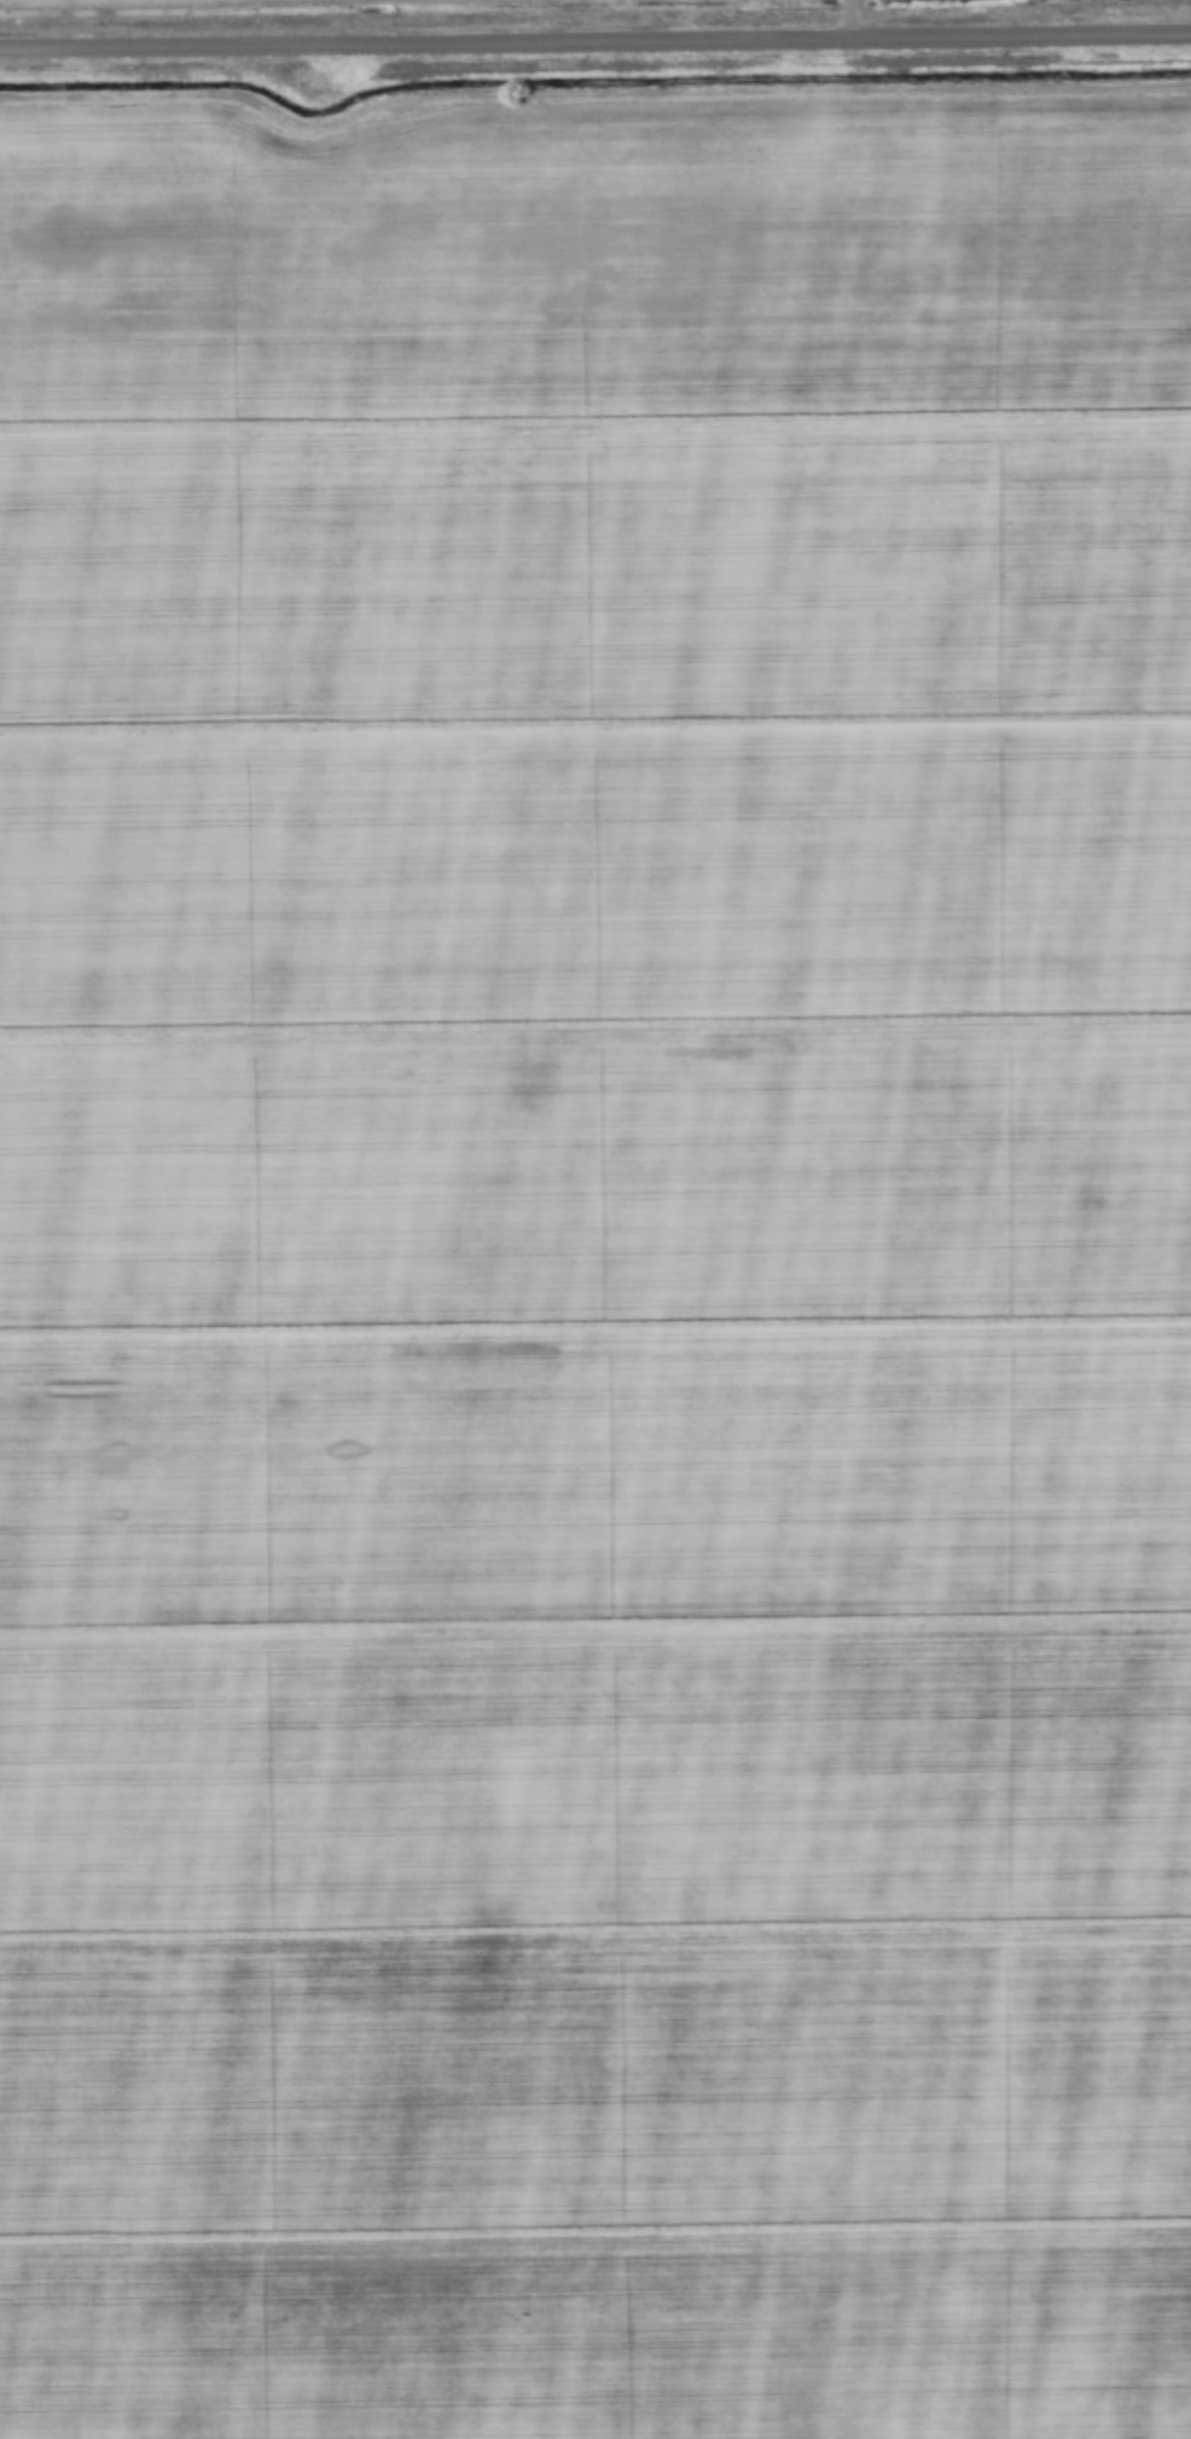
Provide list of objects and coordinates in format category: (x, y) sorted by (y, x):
road: (595, 53)

